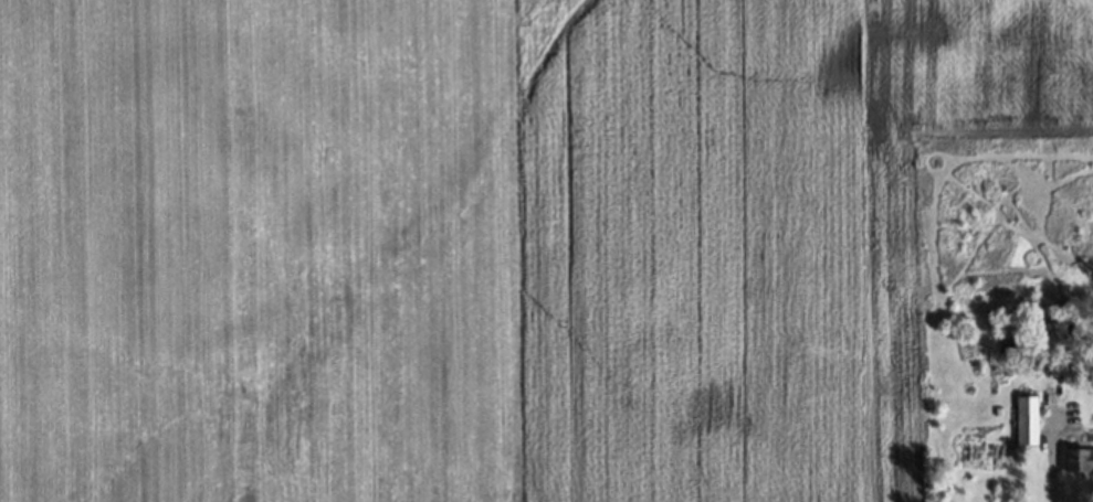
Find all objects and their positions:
building: (1023, 420)
building: (1076, 461)
road: (1053, 473)

